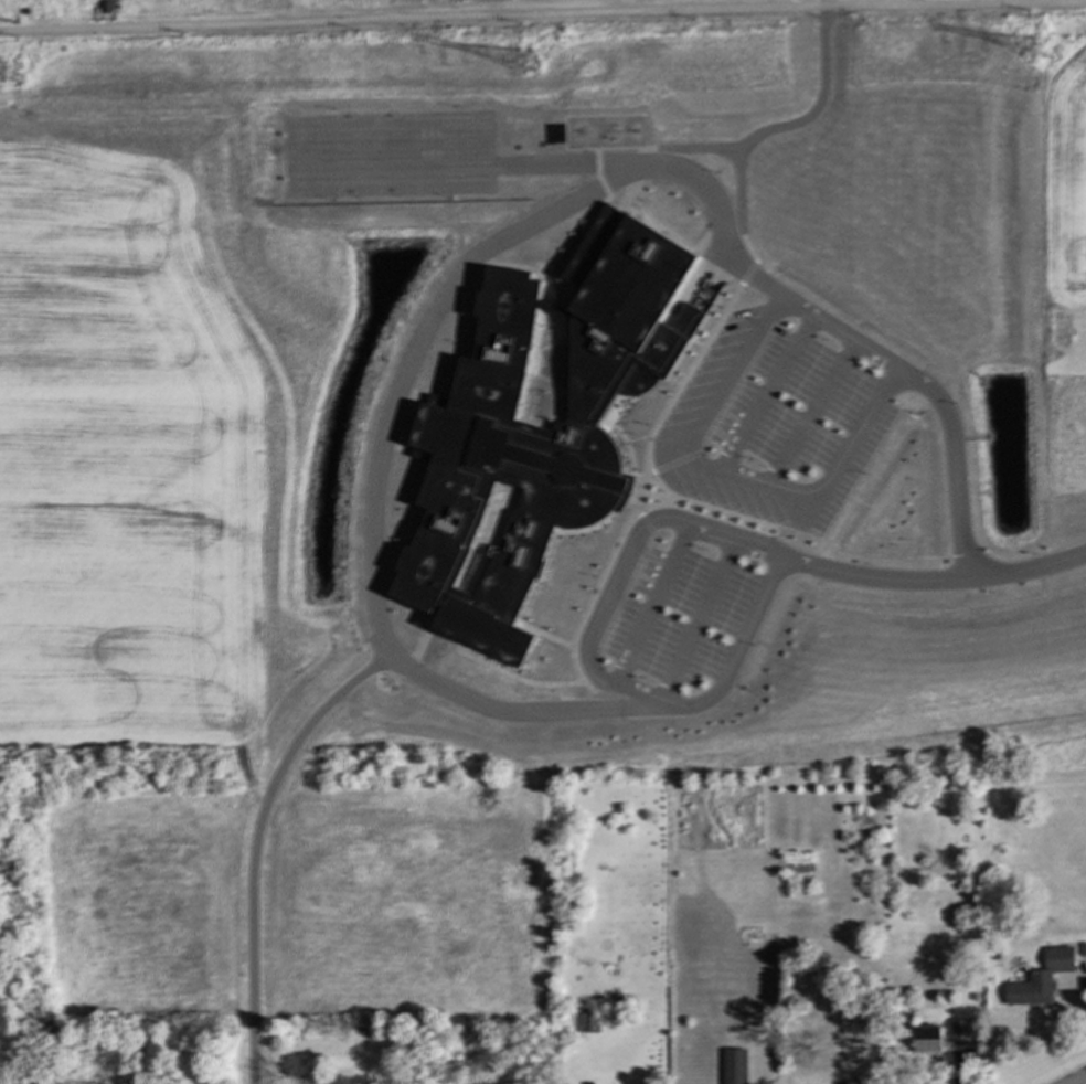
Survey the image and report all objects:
road: (542, 13)
power tower: (1044, 51)
power tower: (526, 62)
power tower: (13, 76)
road: (779, 127)
crop: (1065, 174)
road: (738, 194)
road: (826, 315)
road: (393, 379)
building: (536, 424)
road: (700, 429)
road: (866, 429)
crop: (125, 459)
building: (575, 519)
road: (624, 557)
road: (1026, 559)
road: (710, 692)
road: (255, 843)
building: (1042, 979)
building: (589, 1023)
building: (944, 1037)
building: (735, 1066)
road: (1077, 1080)

